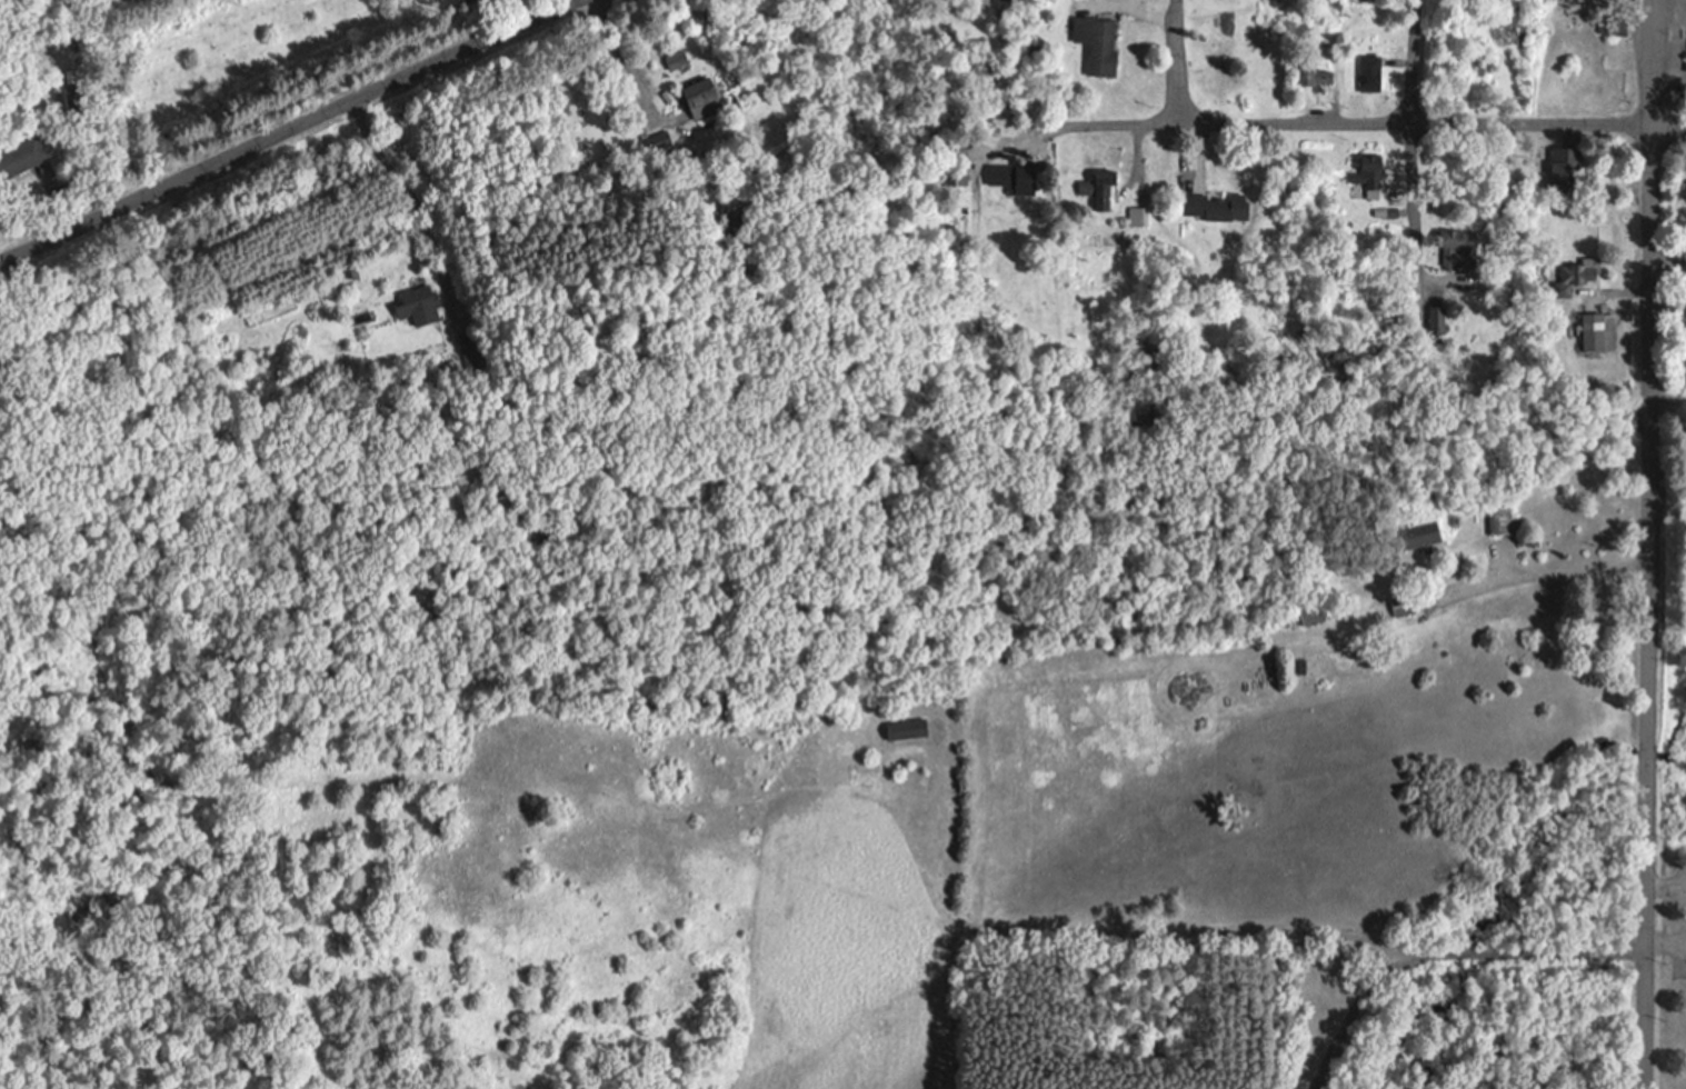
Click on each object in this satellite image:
building: (1095, 43)
building: (675, 57)
road: (1178, 60)
road: (1652, 63)
road: (629, 70)
building: (1369, 72)
building: (1299, 73)
building: (699, 98)
road: (1369, 124)
road: (288, 131)
building: (1368, 173)
building: (1014, 180)
road: (401, 182)
building: (1099, 182)
road: (1411, 190)
building: (1210, 206)
building: (1134, 217)
building: (1453, 243)
building: (1578, 273)
building: (416, 306)
building: (1435, 318)
building: (1592, 332)
building: (1684, 452)
building: (1502, 521)
building: (1418, 538)
road: (1535, 572)
road: (1646, 608)
building: (1400, 610)
building: (904, 729)
road: (1666, 882)
road: (1665, 940)
road: (1446, 952)

